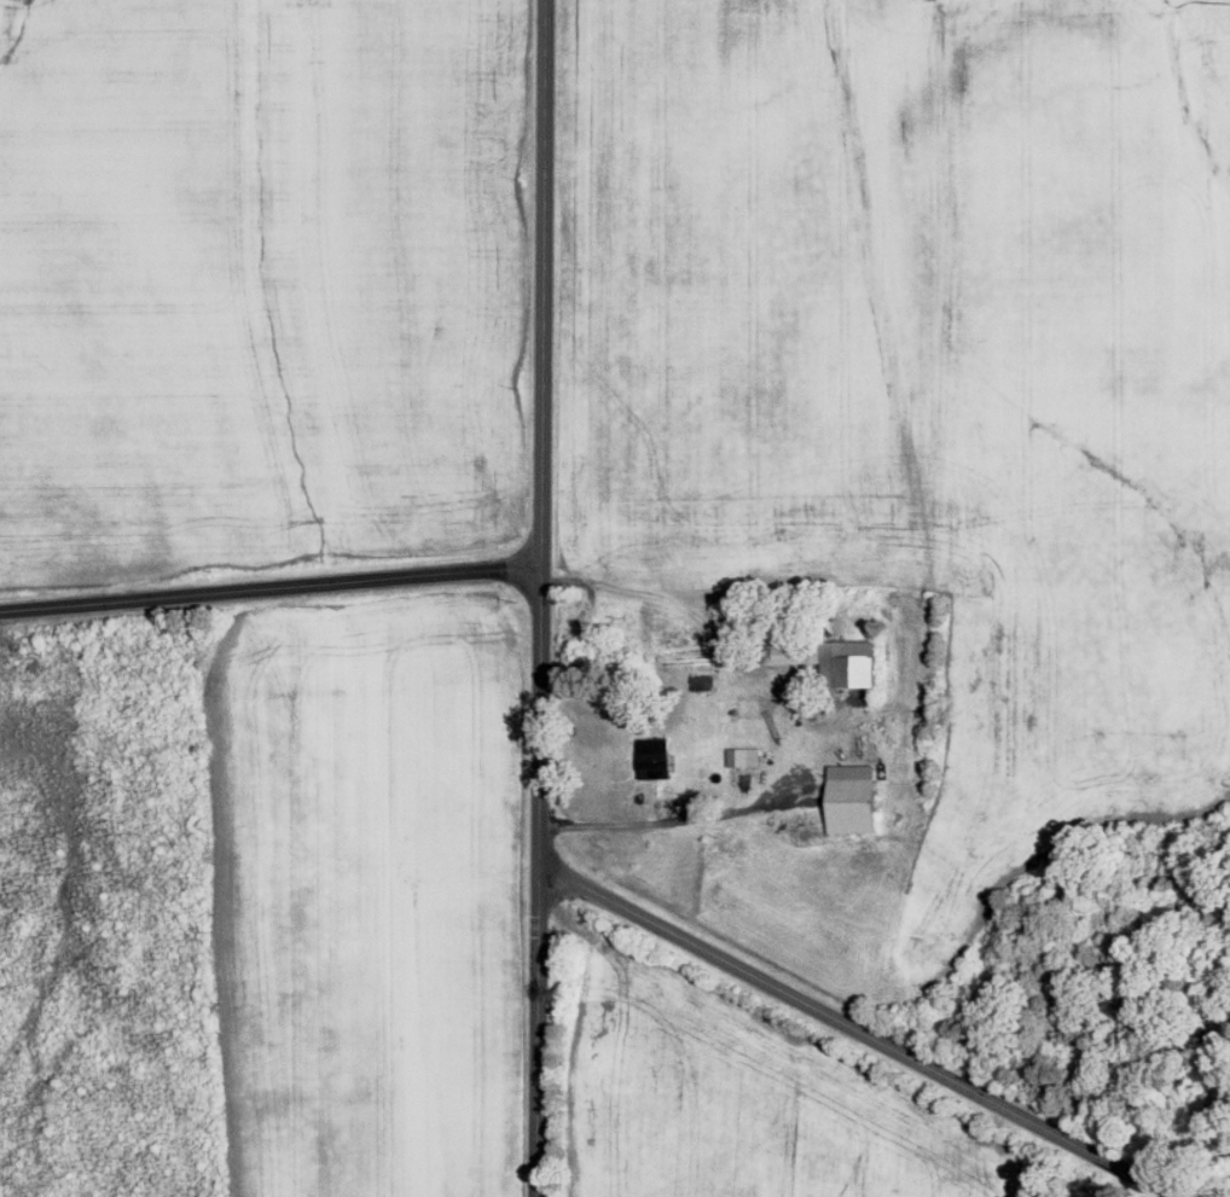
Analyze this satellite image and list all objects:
road: (271, 587)
road: (541, 598)
building: (794, 652)
building: (858, 661)
building: (655, 754)
building: (744, 754)
building: (854, 796)
road: (677, 820)
road: (874, 1017)

